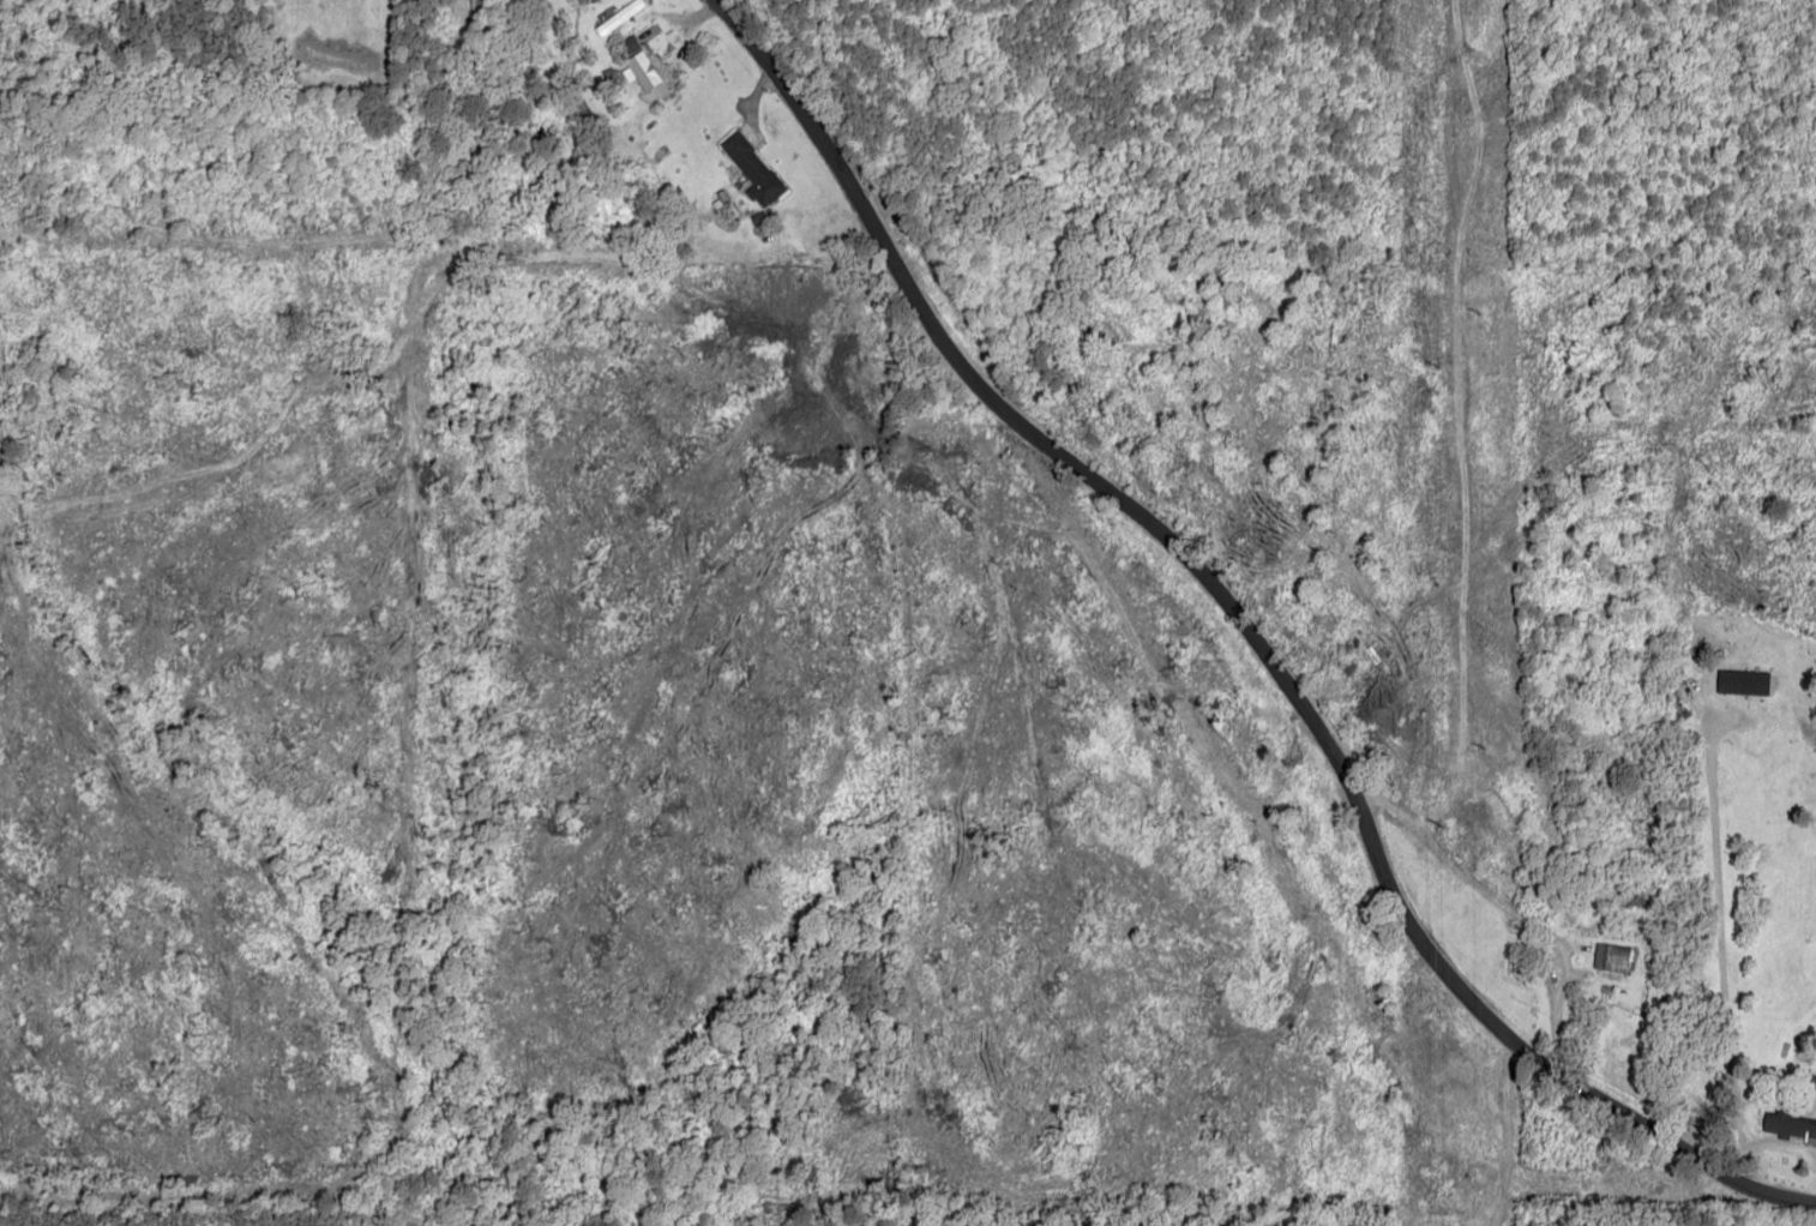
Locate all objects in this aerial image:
building: (582, 1)
building: (618, 16)
building: (642, 62)
building: (751, 168)
road: (912, 462)
road: (867, 510)
road: (1238, 644)
building: (1738, 695)
building: (1611, 957)
building: (1791, 1126)

